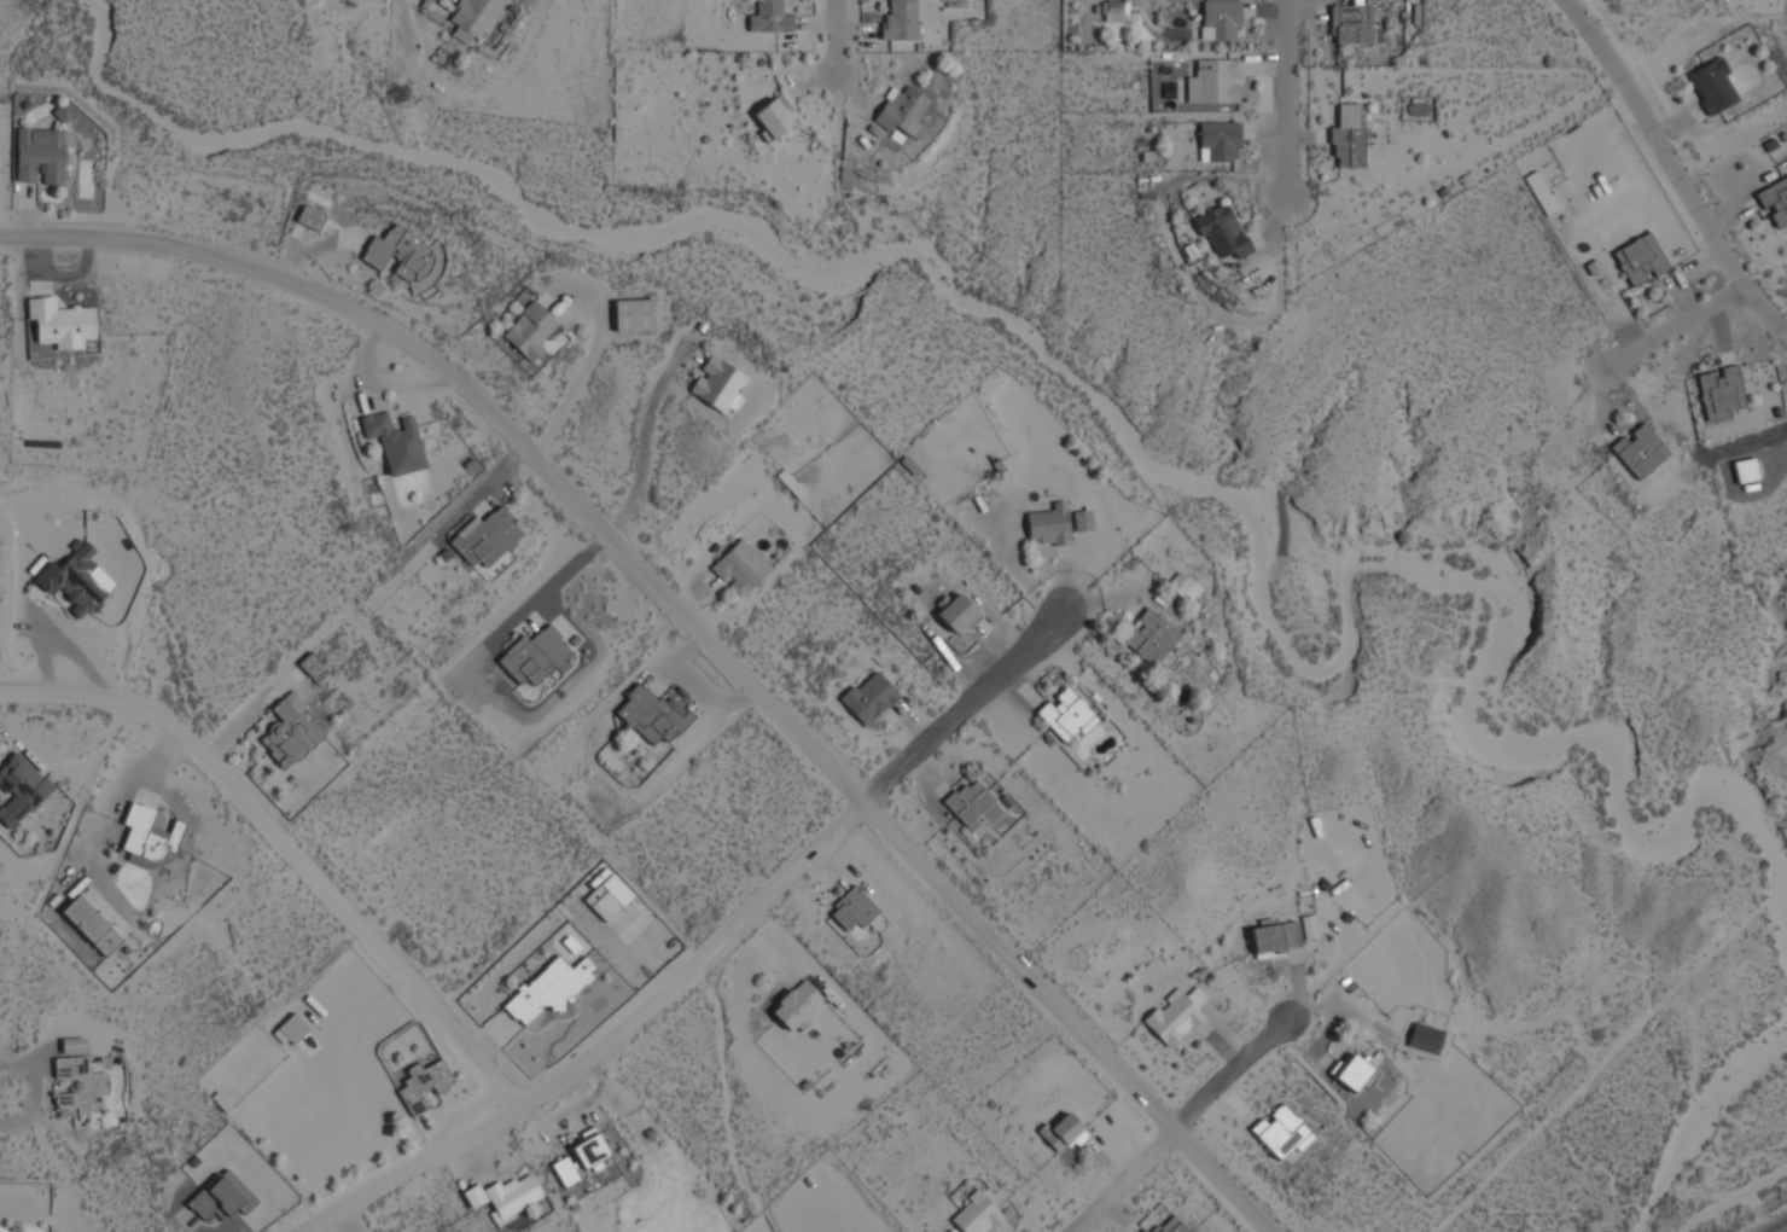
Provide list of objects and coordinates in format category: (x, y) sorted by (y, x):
building: (1114, 12)
building: (769, 18)
building: (472, 19)
building: (1220, 19)
building: (900, 21)
building: (1352, 23)
road: (832, 35)
building: (1217, 81)
building: (1163, 86)
building: (1712, 86)
road: (1285, 97)
building: (902, 111)
building: (773, 118)
building: (1347, 136)
building: (1218, 141)
building: (40, 157)
road: (1674, 169)
building: (1775, 201)
building: (309, 217)
building: (1221, 232)
building: (398, 255)
building: (1640, 258)
building: (633, 315)
building: (60, 324)
road: (1674, 329)
building: (529, 331)
road: (578, 378)
building: (717, 385)
building: (1721, 394)
building: (395, 442)
road: (642, 451)
building: (1638, 451)
building: (1745, 471)
building: (1048, 525)
building: (485, 537)
building: (740, 566)
building: (76, 581)
building: (1182, 587)
road: (692, 628)
building: (1151, 638)
building: (532, 656)
building: (313, 668)
building: (868, 698)
building: (652, 715)
building: (1066, 715)
building: (290, 732)
building: (21, 790)
building: (968, 803)
building: (146, 837)
road: (290, 849)
building: (607, 897)
building: (852, 910)
building: (91, 926)
building: (1308, 926)
building: (856, 934)
building: (1274, 938)
road: (703, 954)
building: (548, 988)
building: (796, 1006)
building: (291, 1029)
building: (1350, 1073)
building: (423, 1085)
building: (78, 1086)
road: (4, 1093)
road: (1180, 1123)
building: (1060, 1132)
building: (1281, 1133)
building: (590, 1151)
building: (473, 1196)
building: (511, 1196)
building: (221, 1197)
building: (974, 1214)
building: (1170, 1226)
road: (1777, 1226)
building: (1, 1230)
building: (1143, 1231)

